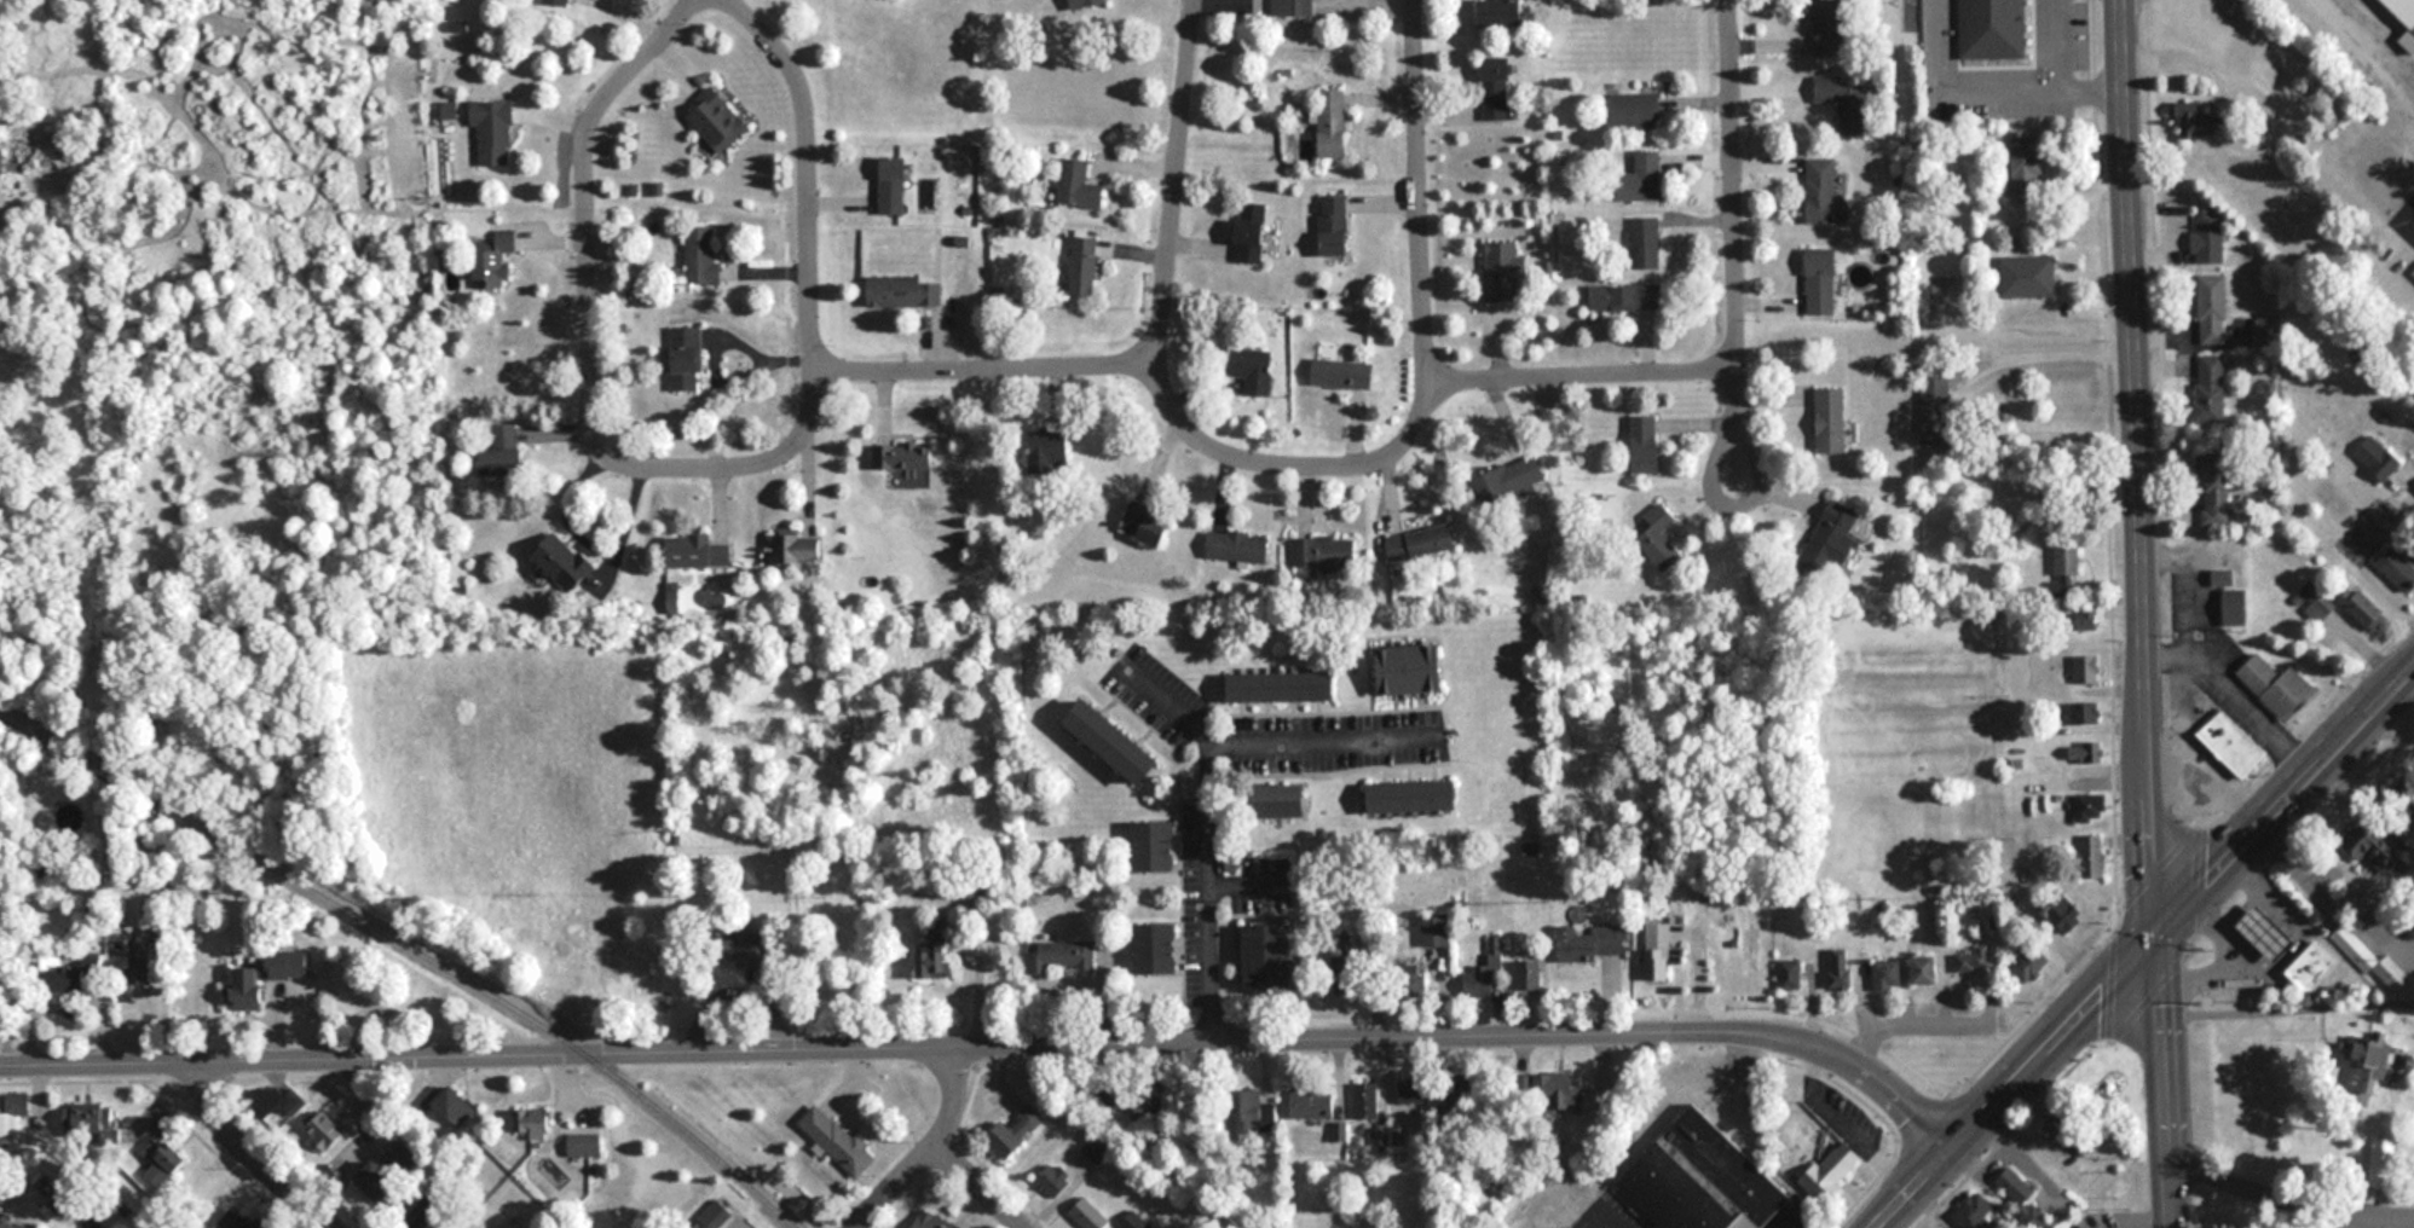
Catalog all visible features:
building: (562, 1)
building: (1086, 2)
building: (1295, 6)
building: (1500, 11)
building: (2403, 18)
building: (1829, 27)
building: (1992, 28)
building: (1497, 87)
building: (1846, 102)
building: (1635, 110)
building: (717, 118)
building: (2196, 120)
building: (1332, 122)
building: (492, 129)
building: (1, 161)
building: (2027, 164)
road: (1167, 174)
road: (1729, 174)
building: (1642, 176)
road: (1419, 181)
building: (894, 183)
building: (1078, 184)
building: (1825, 192)
road: (584, 209)
building: (1333, 224)
building: (1253, 231)
building: (2208, 237)
building: (1646, 241)
building: (699, 255)
building: (495, 261)
building: (1084, 263)
building: (2413, 270)
building: (1500, 271)
building: (2029, 276)
building: (1823, 279)
building: (903, 290)
building: (1624, 295)
road: (809, 302)
building: (2212, 308)
building: (2268, 337)
road: (2040, 341)
road: (978, 352)
building: (686, 358)
road: (1575, 358)
building: (1255, 370)
building: (1341, 372)
building: (2210, 387)
building: (1936, 411)
building: (1832, 417)
building: (1646, 442)
road: (1288, 450)
building: (503, 452)
building: (2379, 456)
building: (906, 463)
road: (2132, 464)
road: (1714, 479)
building: (1508, 481)
building: (2213, 488)
building: (1148, 522)
building: (1835, 535)
building: (1659, 538)
building: (1417, 543)
building: (797, 546)
building: (1237, 546)
building: (698, 551)
building: (1323, 552)
building: (564, 561)
building: (2066, 567)
building: (2398, 567)
building: (2314, 601)
building: (2235, 607)
building: (2364, 607)
building: (1414, 668)
building: (2085, 668)
building: (2279, 684)
building: (1284, 687)
road: (1170, 706)
road: (2390, 707)
building: (2085, 713)
building: (1116, 741)
building: (2233, 742)
building: (2084, 752)
road: (1203, 774)
road: (2279, 786)
building: (1415, 795)
building: (1286, 800)
building: (2092, 806)
building: (1155, 846)
building: (2378, 851)
building: (2092, 856)
road: (1242, 884)
building: (2060, 909)
building: (1434, 929)
traffic signals: (2149, 929)
building: (2270, 931)
gas station: (2270, 931)
railway: (420, 938)
building: (1592, 943)
building: (741, 948)
building: (1156, 948)
building: (1657, 951)
building: (1270, 955)
building: (931, 956)
building: (1061, 958)
building: (2372, 960)
building: (1973, 961)
building: (142, 965)
building: (2029, 965)
building: (2316, 965)
building: (1841, 969)
building: (1928, 969)
building: (1485, 973)
building: (75, 974)
building: (1407, 974)
building: (1790, 974)
building: (267, 975)
building: (1529, 975)
building: (1888, 975)
road: (988, 1032)
building: (2366, 1064)
road: (1997, 1076)
road: (2159, 1078)
building: (1558, 1089)
building: (1410, 1090)
building: (1113, 1093)
building: (1365, 1101)
building: (1312, 1102)
building: (1457, 1102)
building: (279, 1104)
building: (455, 1104)
building: (1252, 1110)
building: (12, 1117)
building: (98, 1122)
building: (532, 1122)
building: (1016, 1130)
building: (325, 1131)
building: (2073, 1133)
building: (837, 1140)
building: (585, 1143)
road: (922, 1145)
road: (246, 1147)
building: (1097, 1147)
building: (161, 1159)
building: (388, 1169)
building: (1832, 1170)
building: (1703, 1178)
building: (1055, 1180)
road: (983, 1181)
building: (2020, 1193)
building: (65, 1204)
building: (1975, 1211)
building: (715, 1213)
building: (1087, 1213)
building: (235, 1220)
building: (10, 1221)
building: (934, 1221)
building: (1134, 1221)
building: (531, 1227)
building: (1936, 1227)

